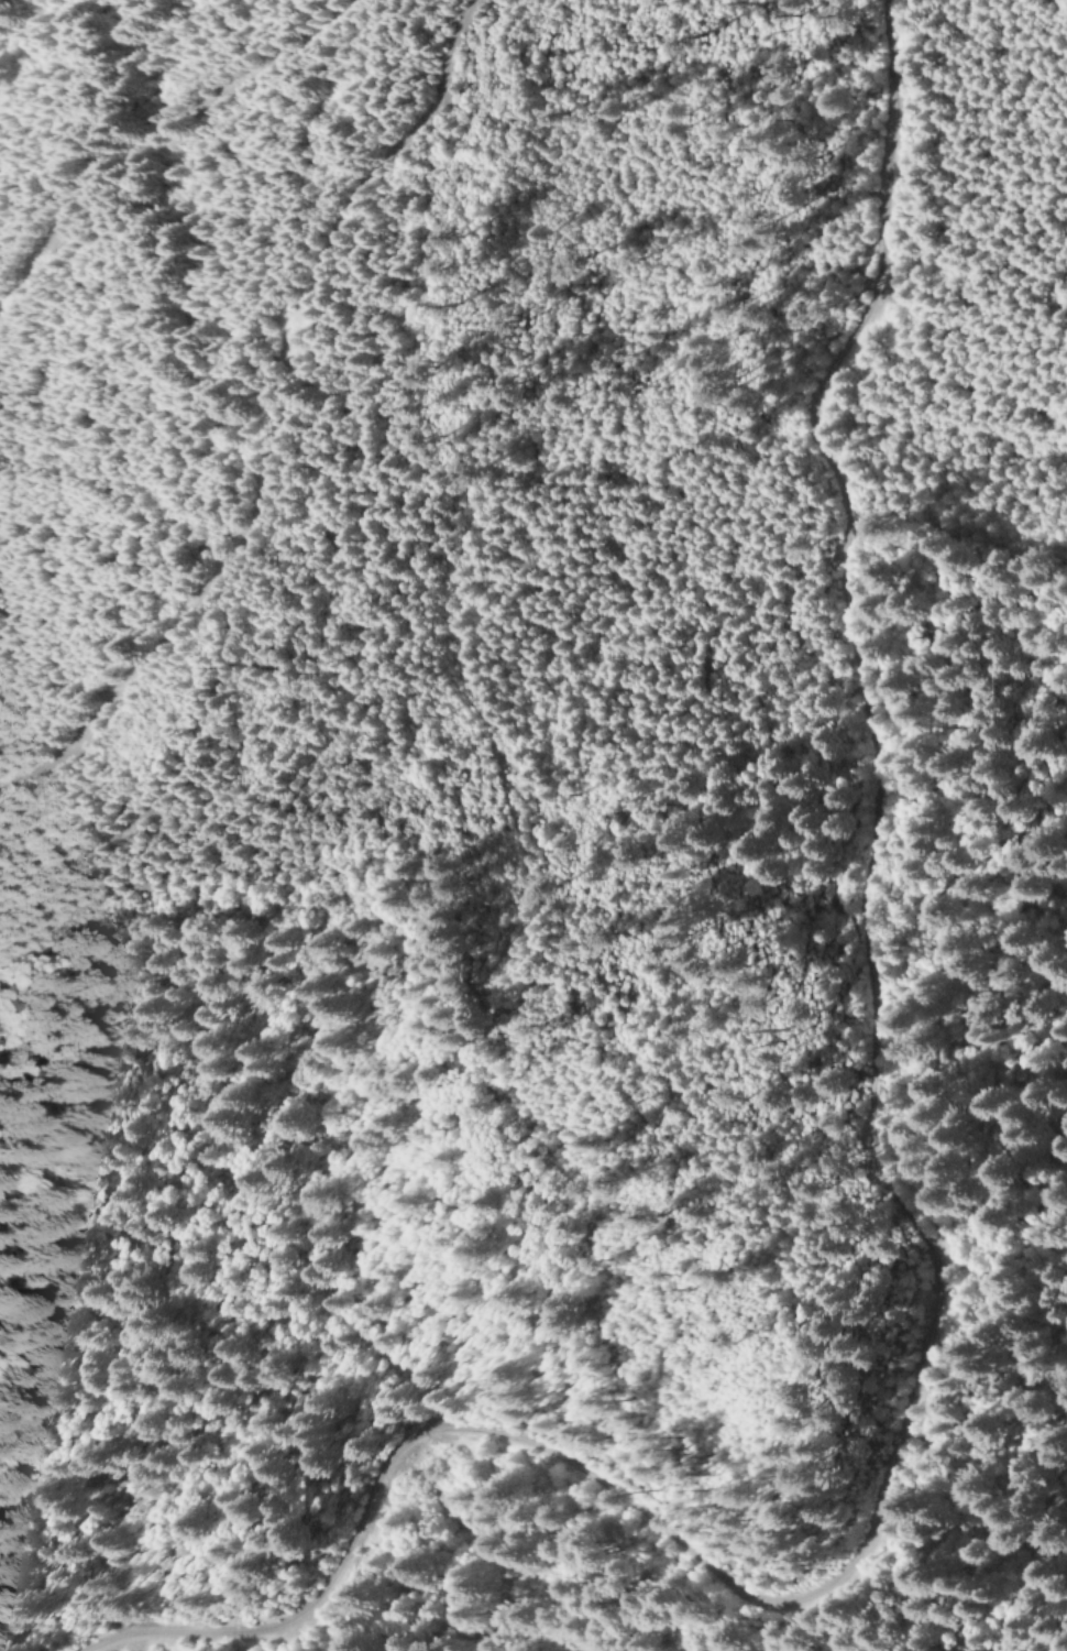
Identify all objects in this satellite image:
road: (163, 127)
road: (273, 418)
road: (930, 1229)

